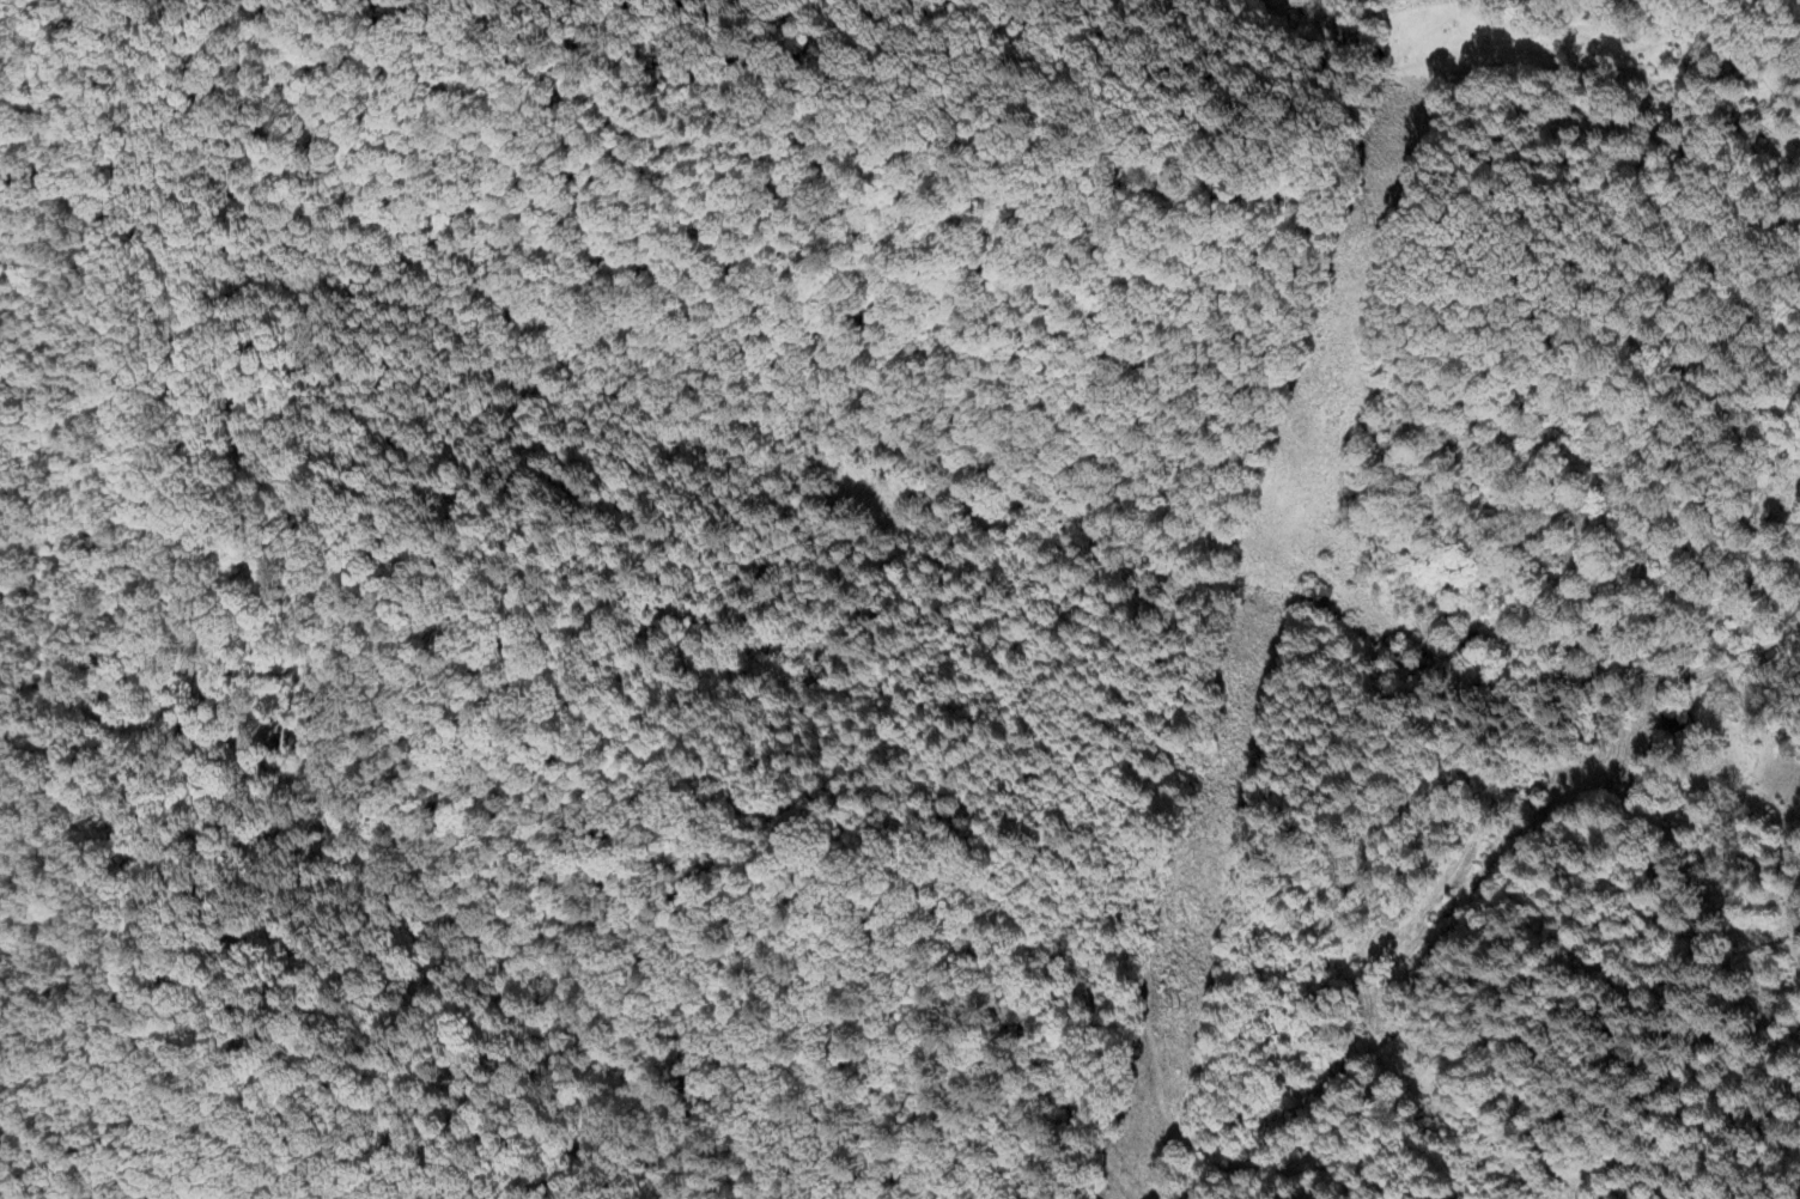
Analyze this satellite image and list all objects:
building: (1672, 717)

